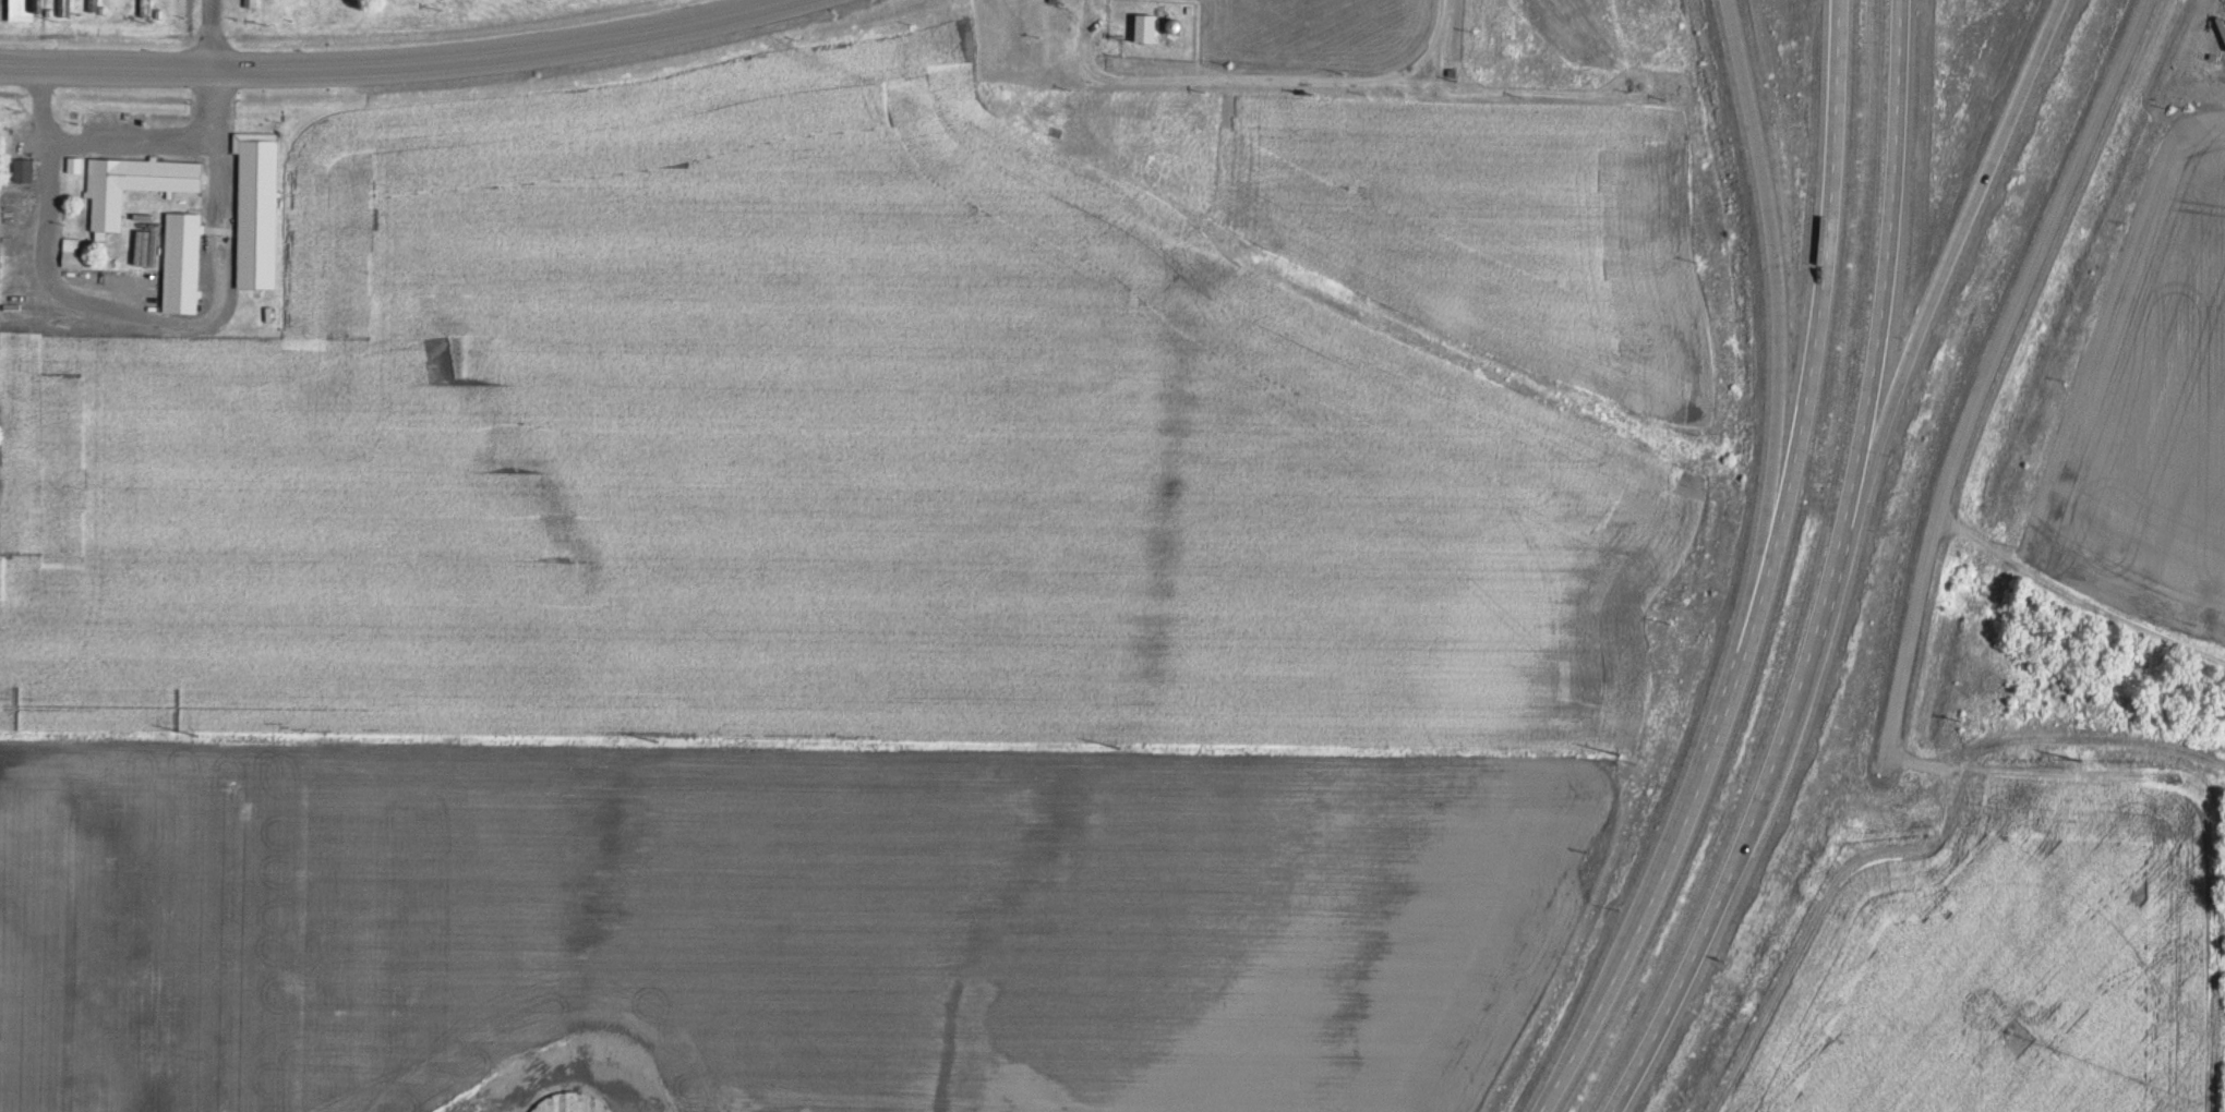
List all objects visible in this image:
building: (96, 4)
building: (68, 7)
building: (148, 8)
building: (258, 9)
building: (25, 10)
building: (308, 10)
building: (342, 10)
building: (282, 11)
building: (1151, 26)
road: (392, 62)
building: (168, 121)
building: (77, 162)
building: (136, 183)
building: (263, 217)
building: (185, 261)
road: (1938, 281)
road: (1776, 354)
road: (1994, 376)
road: (1837, 572)
road: (1769, 577)

